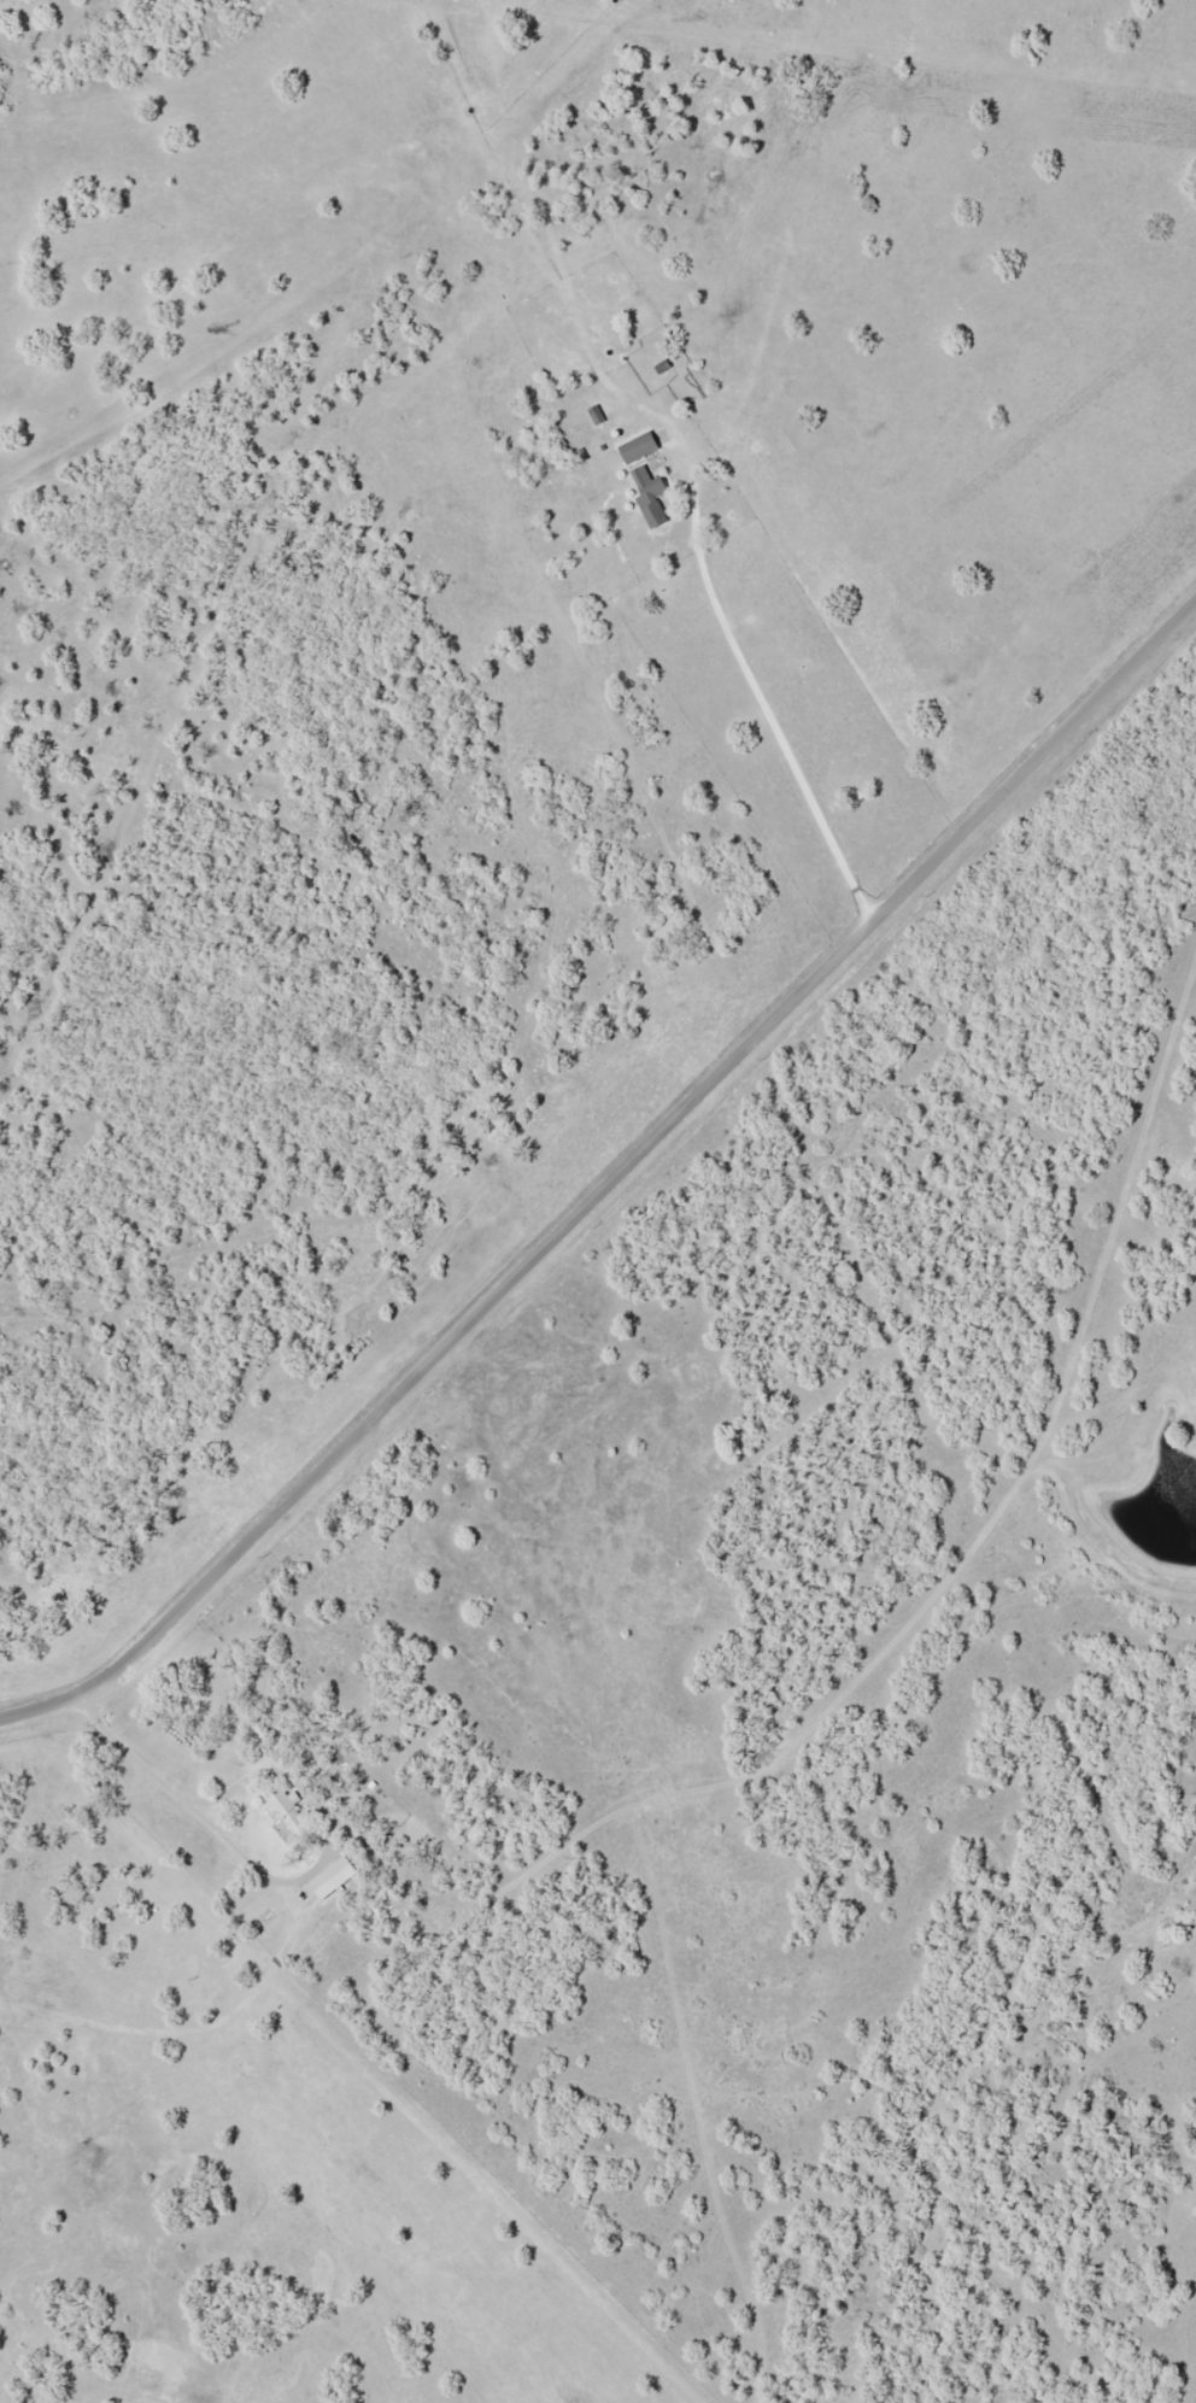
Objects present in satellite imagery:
building: (661, 367)
building: (635, 447)
building: (649, 497)
road: (755, 687)
road: (612, 1179)
road: (193, 1799)
building: (283, 1810)
building: (330, 1877)
road: (172, 2024)

